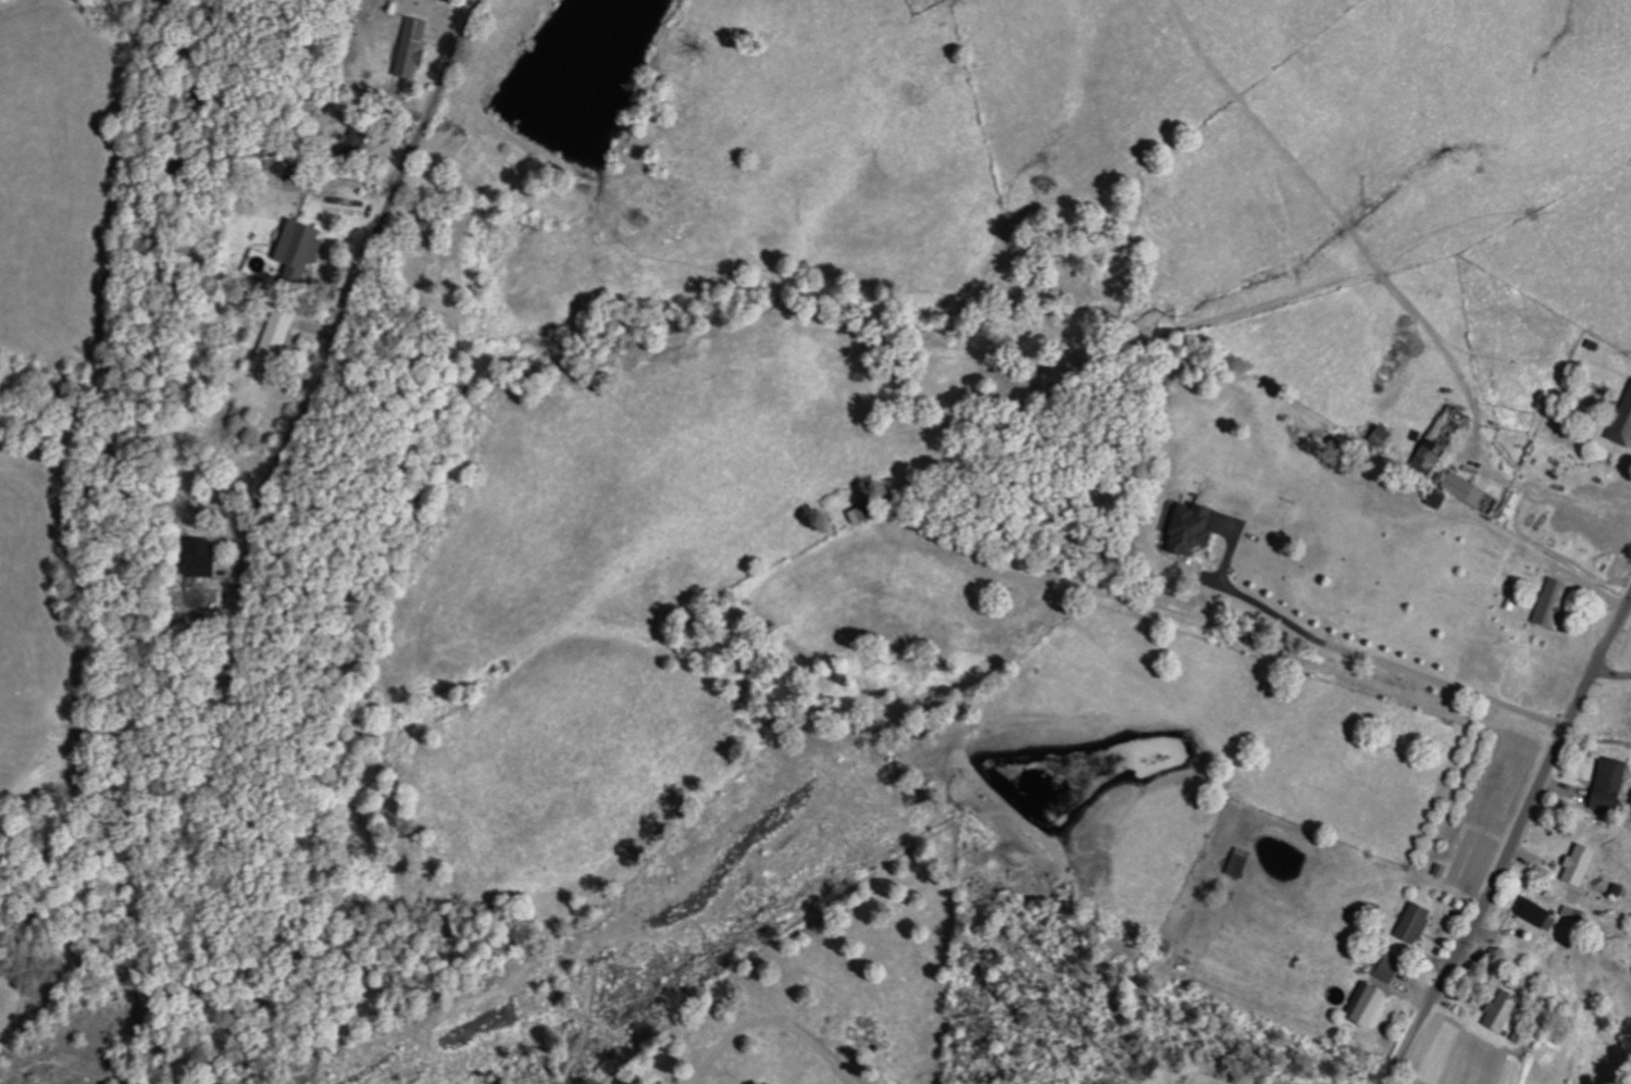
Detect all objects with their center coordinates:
building: (447, 0)
building: (415, 49)
building: (307, 249)
road: (352, 292)
building: (281, 338)
building: (1624, 427)
building: (1386, 435)
building: (1445, 441)
building: (1477, 493)
building: (1442, 500)
building: (869, 513)
building: (1200, 528)
building: (207, 559)
building: (1556, 602)
road: (1613, 672)
building: (1614, 786)
road: (1514, 844)
building: (1244, 863)
building: (1584, 864)
building: (1537, 912)
building: (1419, 923)
building: (1392, 972)
building: (1377, 1006)
building: (1505, 1010)

